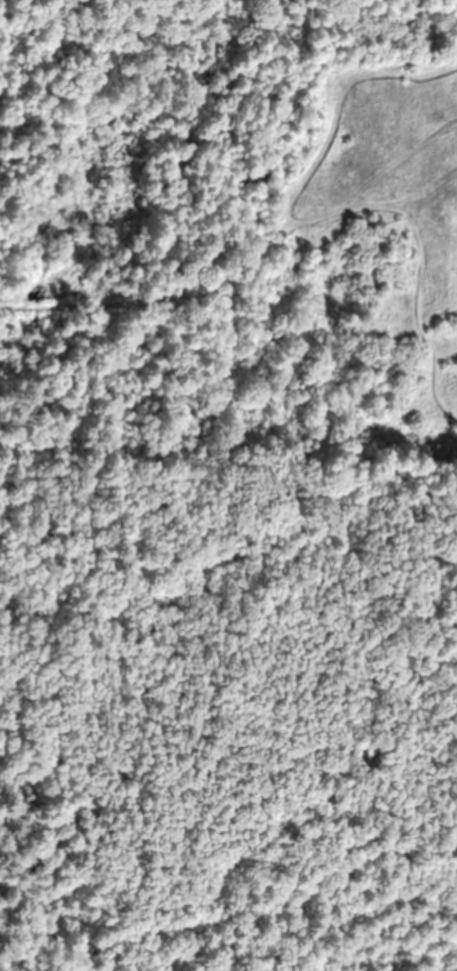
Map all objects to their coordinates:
airport: (228, 714)

